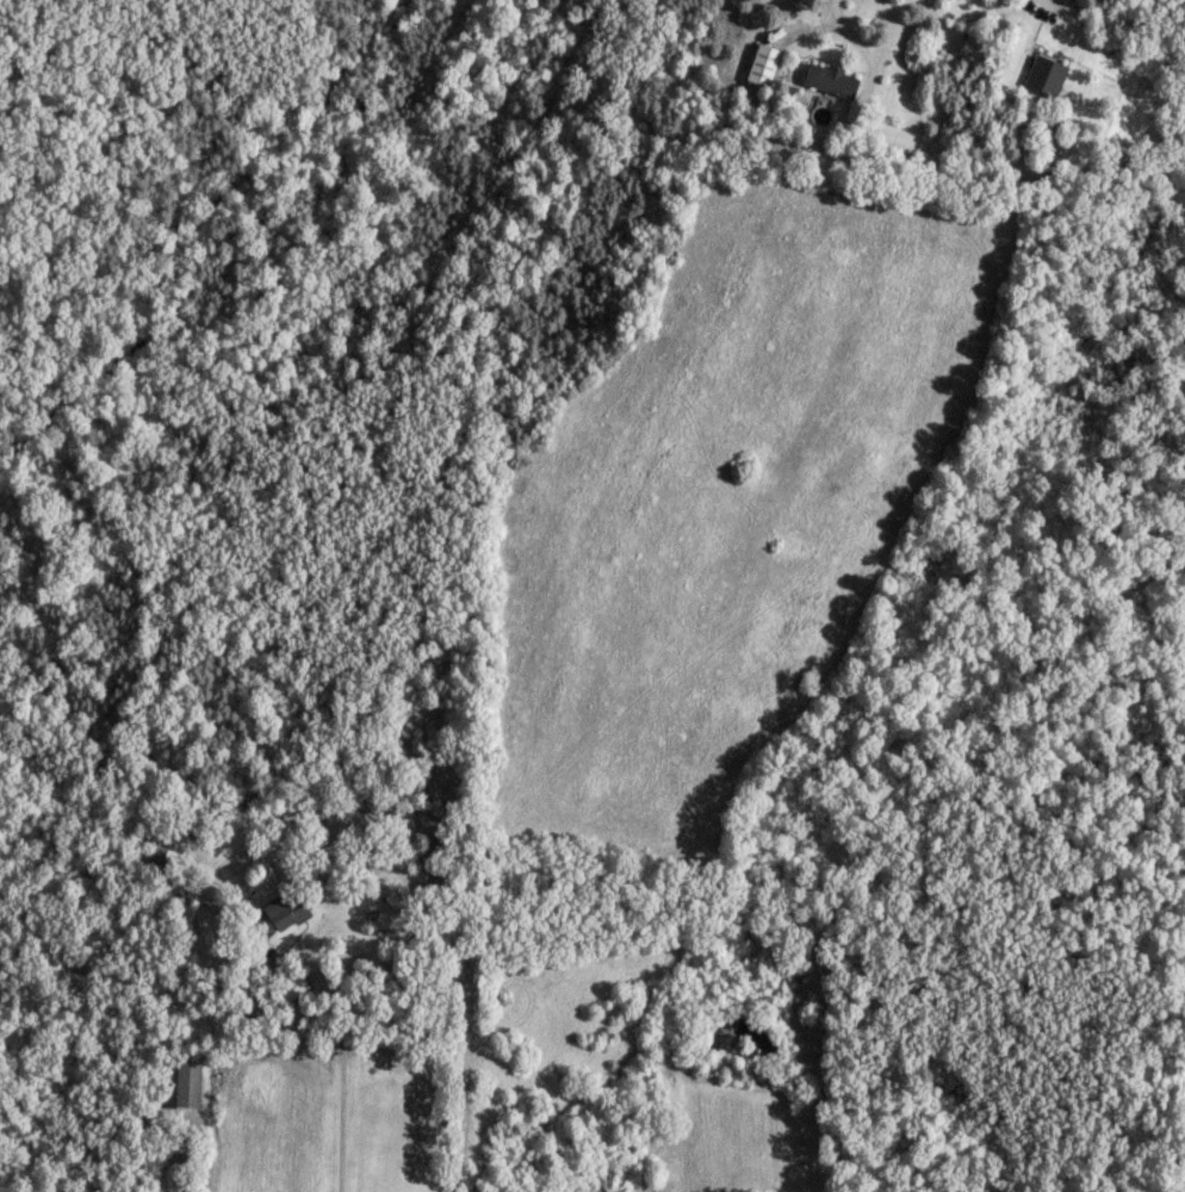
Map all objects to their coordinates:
road: (854, 42)
building: (761, 62)
building: (1044, 73)
building: (829, 77)
building: (156, 855)
building: (397, 896)
building: (285, 908)
road: (337, 1062)
building: (180, 1078)
road: (210, 1163)

